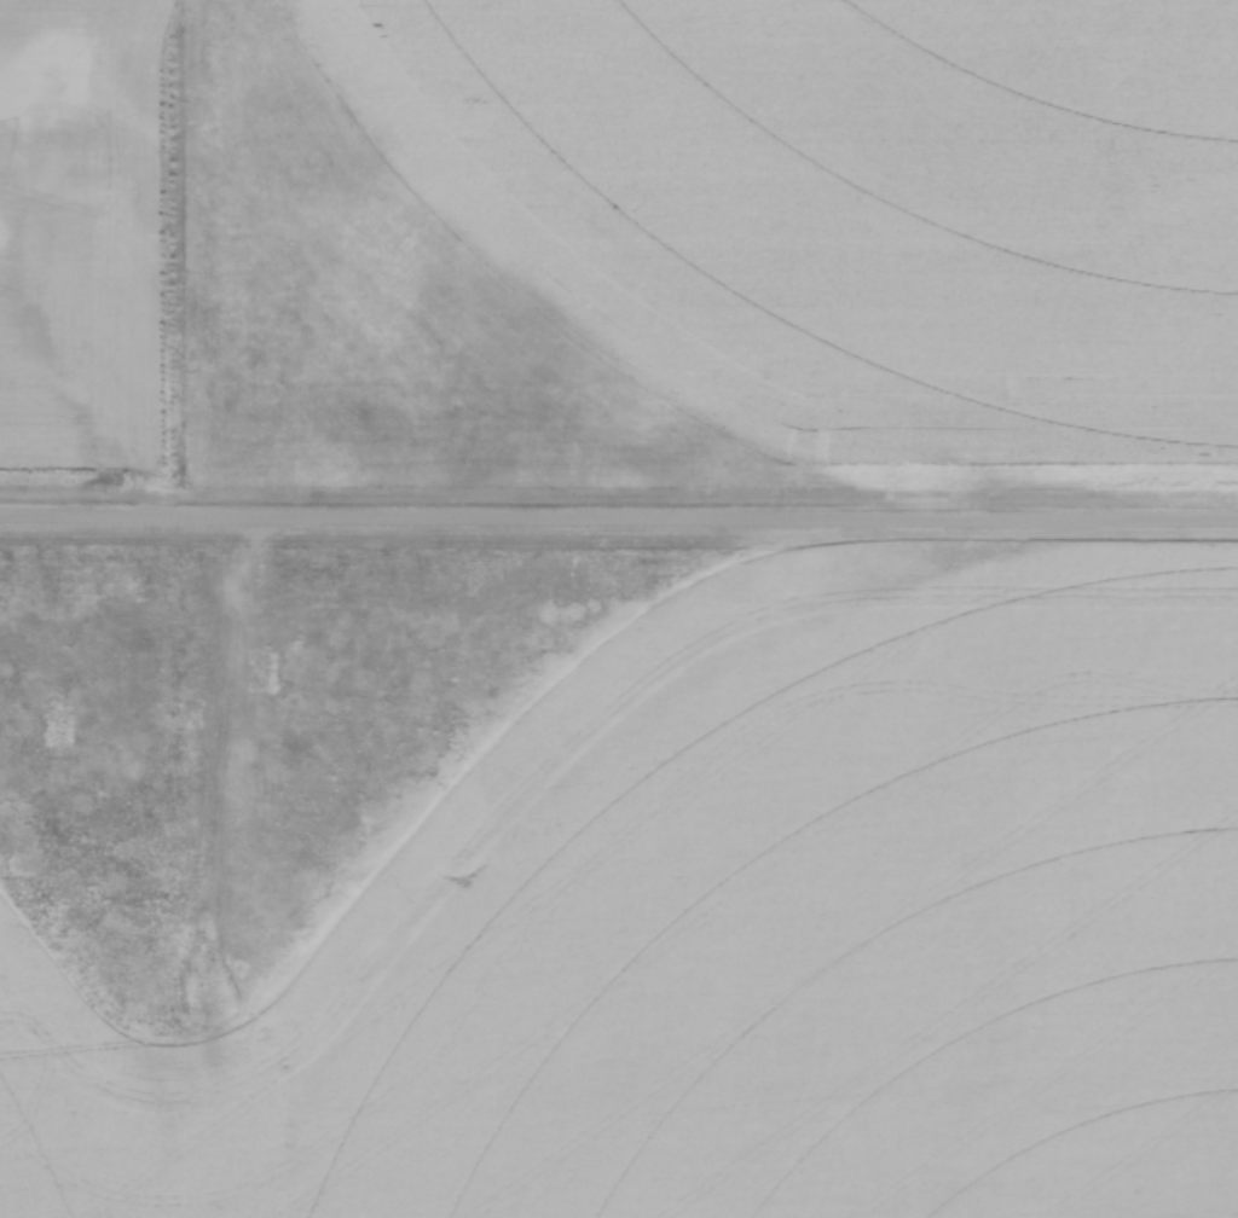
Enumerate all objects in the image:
road: (619, 528)

